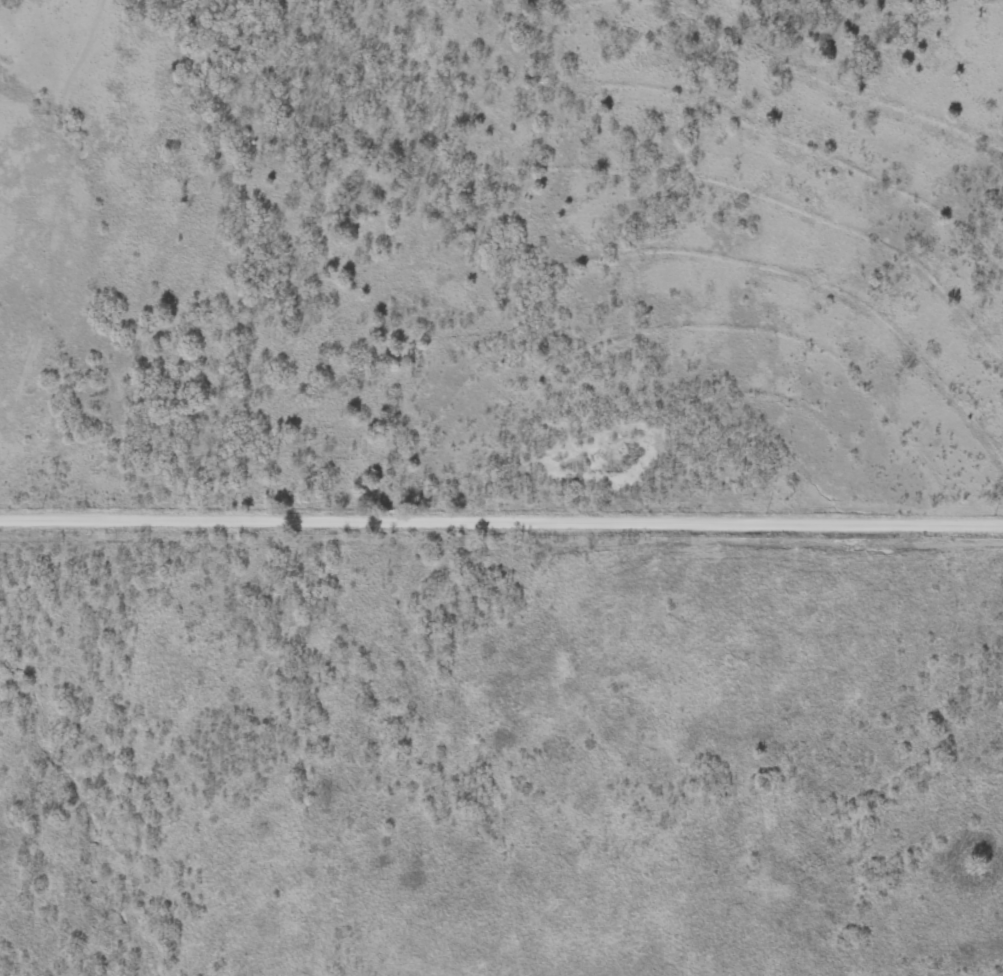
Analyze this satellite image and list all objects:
road: (501, 523)

